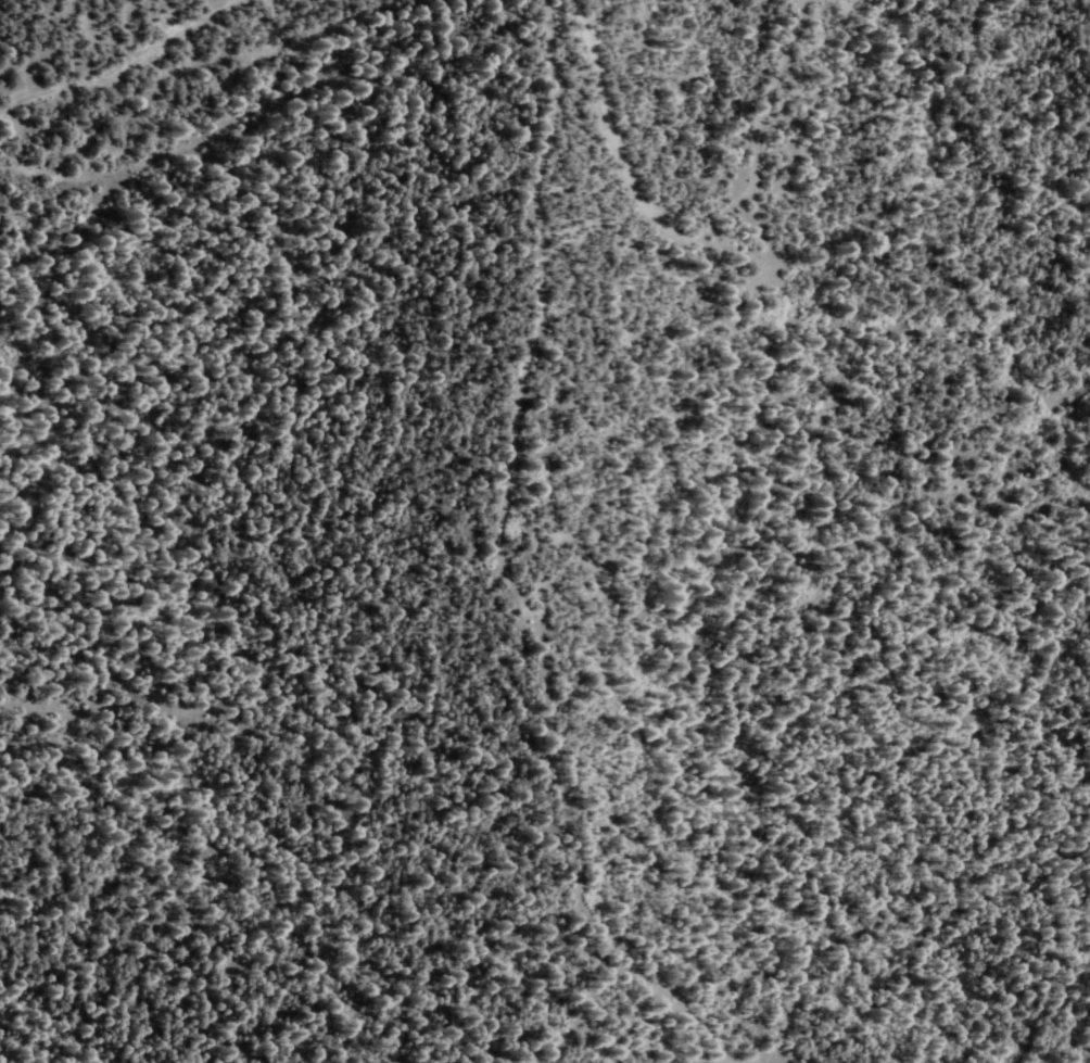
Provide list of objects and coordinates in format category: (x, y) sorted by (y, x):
road: (157, 96)
road: (519, 683)
road: (138, 711)

